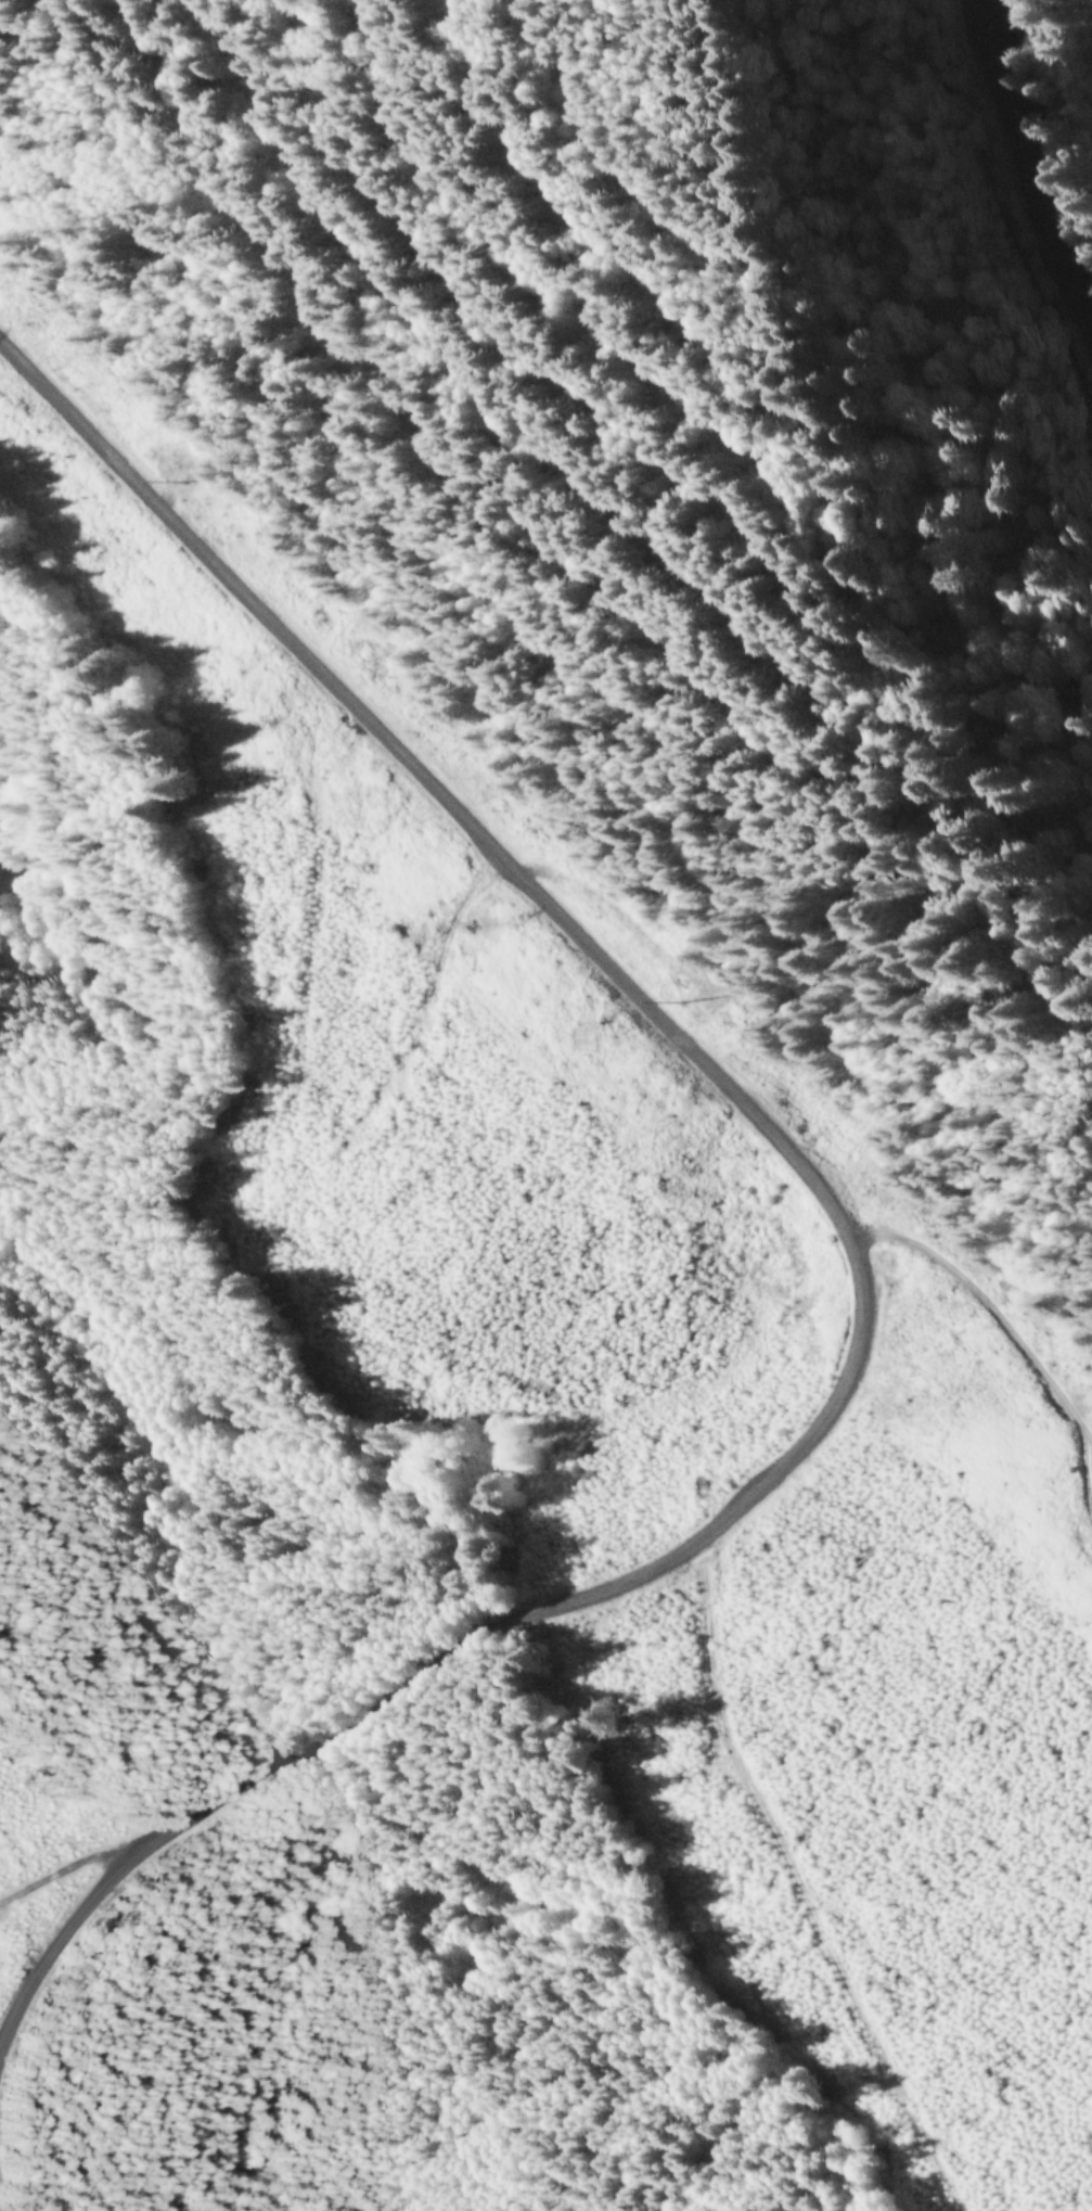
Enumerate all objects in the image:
road: (1031, 172)
power tower: (208, 508)
power tower: (471, 925)
power tower: (624, 942)
road: (842, 1328)

